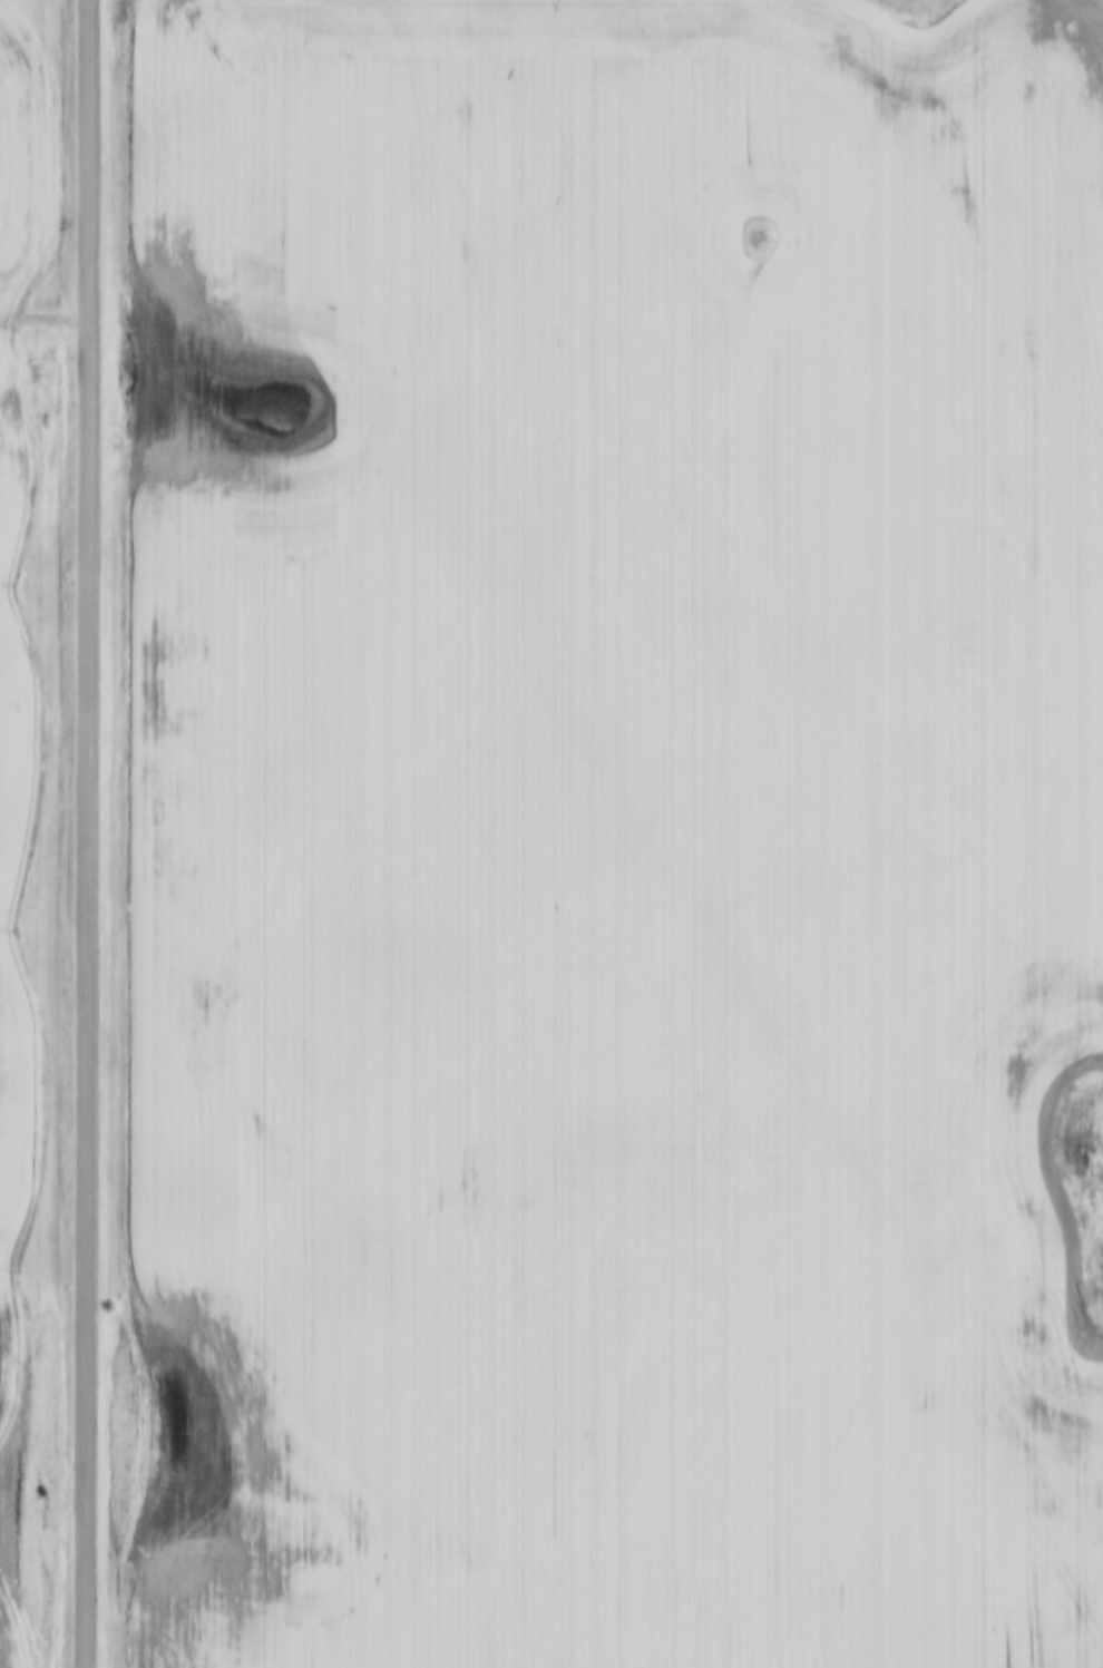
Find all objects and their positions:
road: (43, 311)
road: (84, 833)

